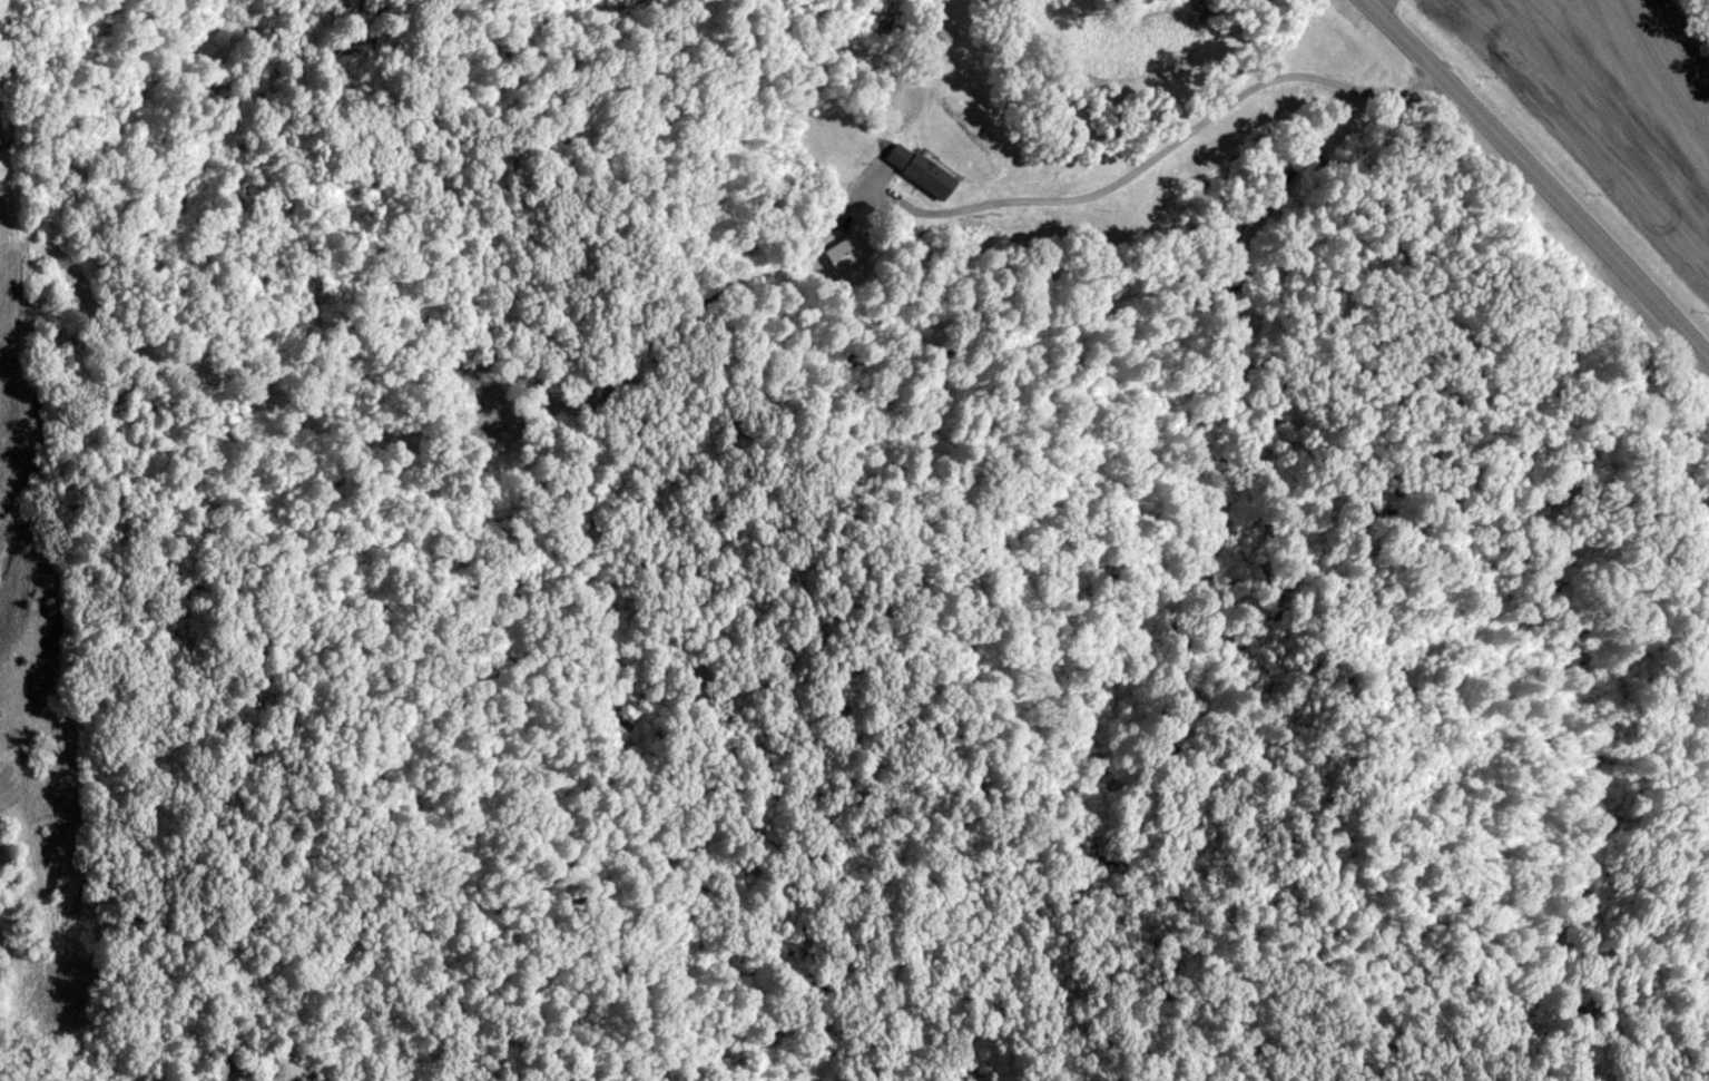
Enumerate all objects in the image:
building: (926, 167)
road: (1540, 180)

